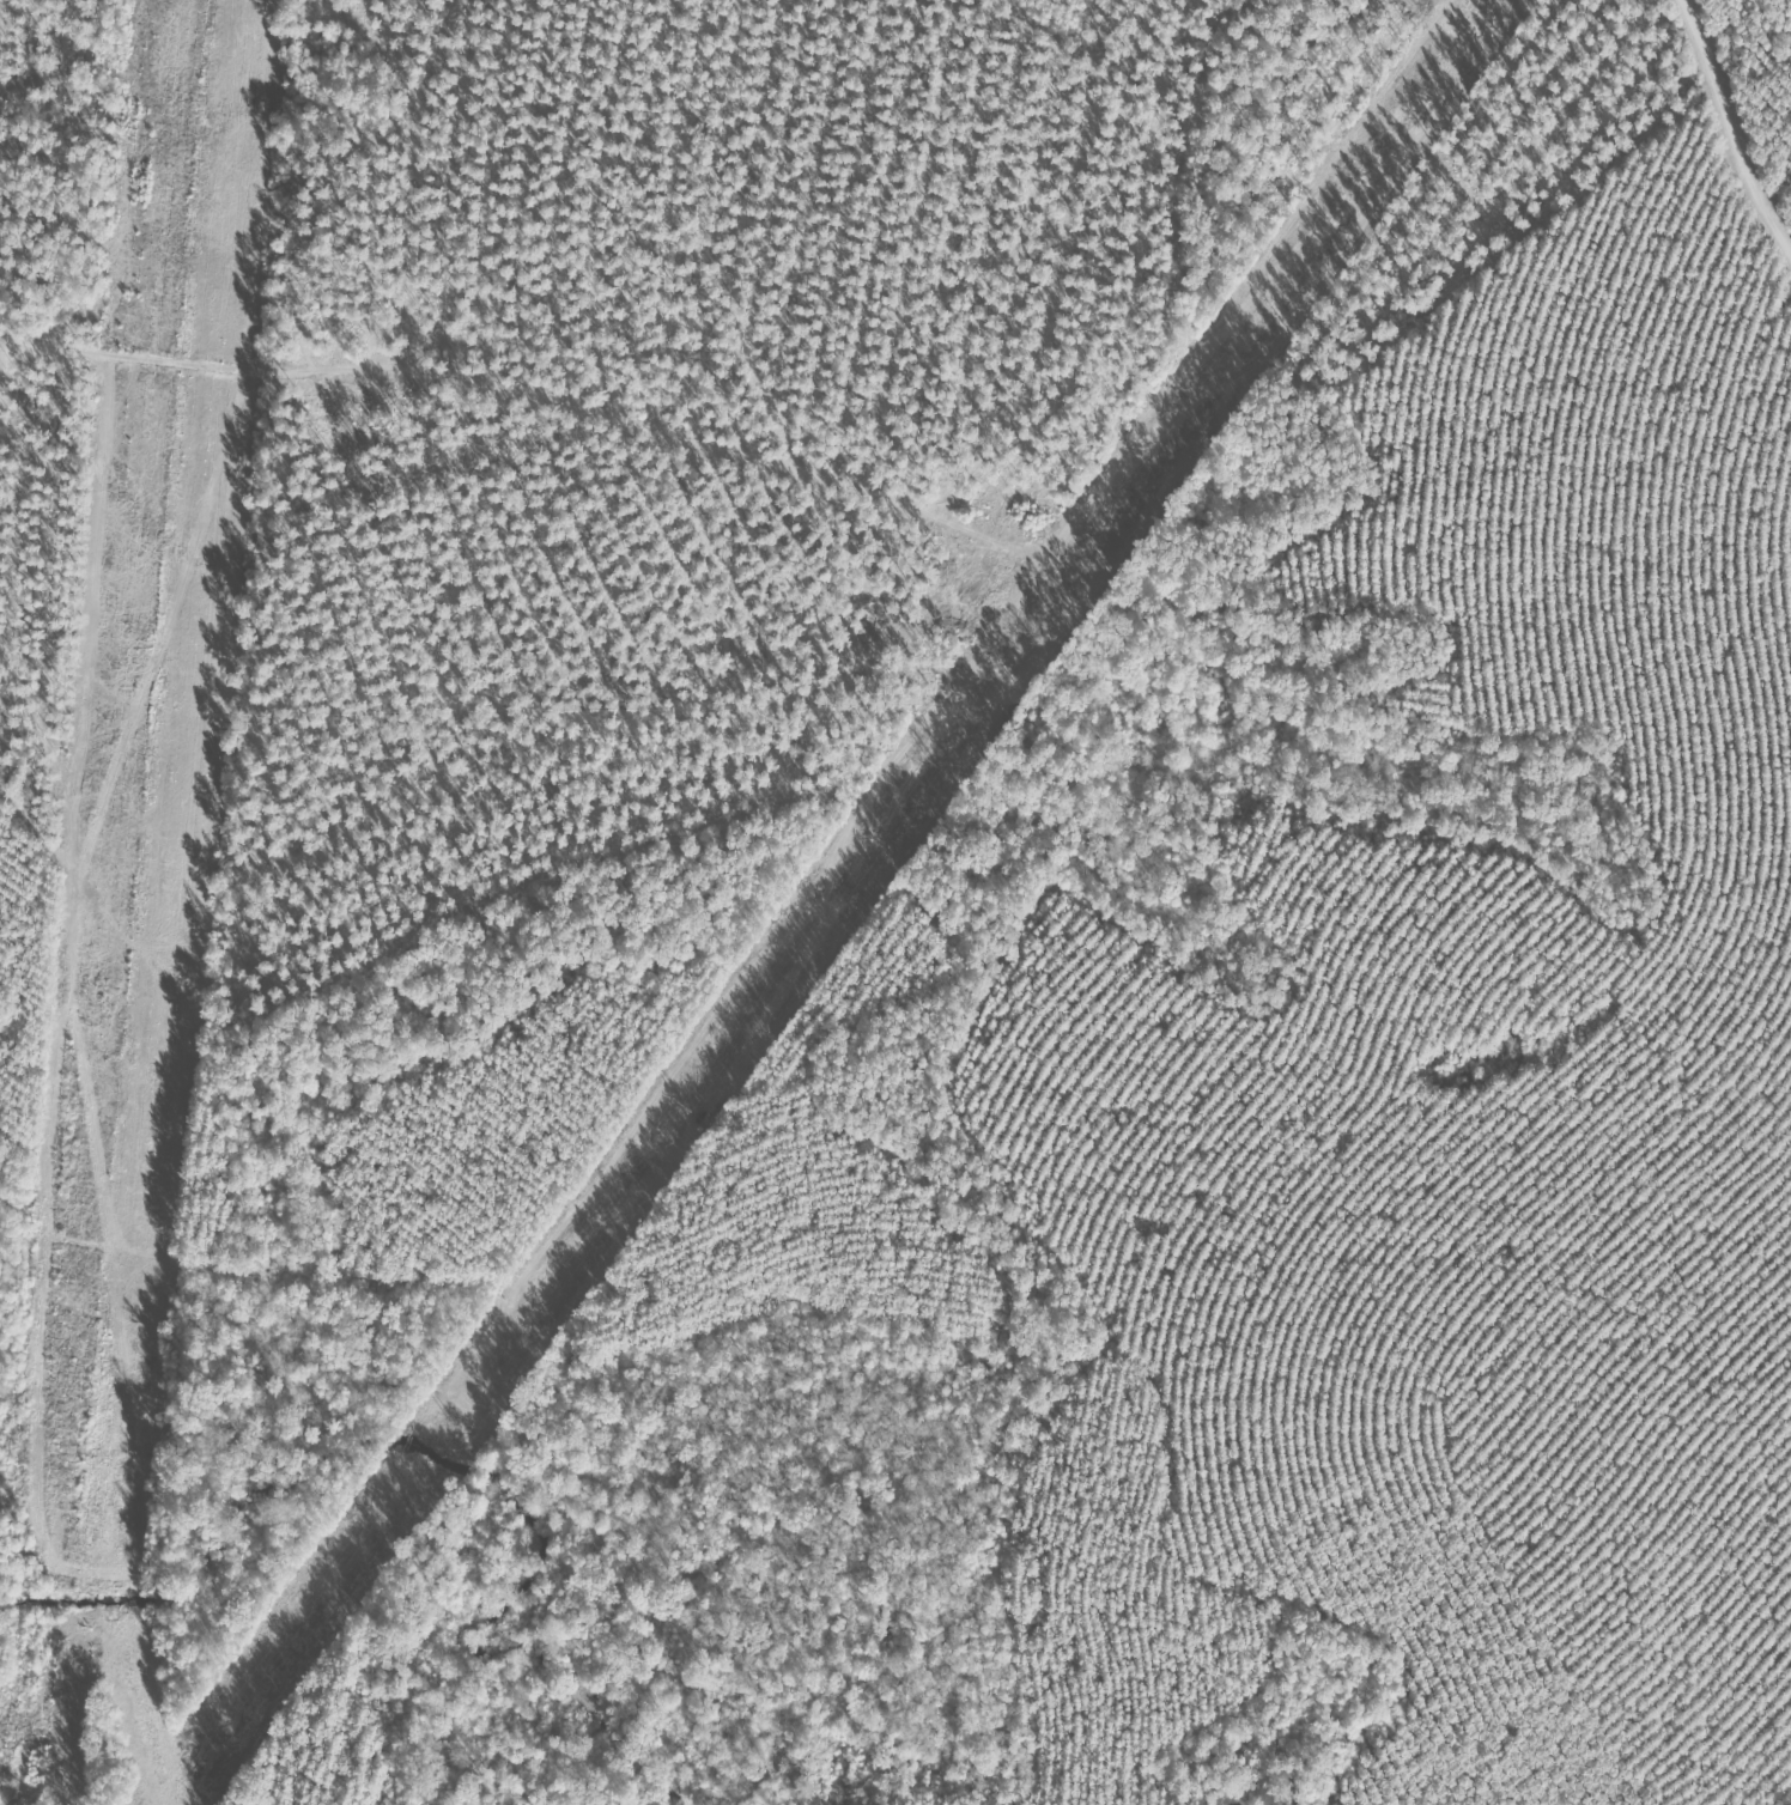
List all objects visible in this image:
power tower: (1325, 219)
road: (872, 292)
power tower: (1092, 536)
power tower: (929, 761)
power tower: (679, 1104)
power tower: (448, 1420)
power tower: (212, 1743)

